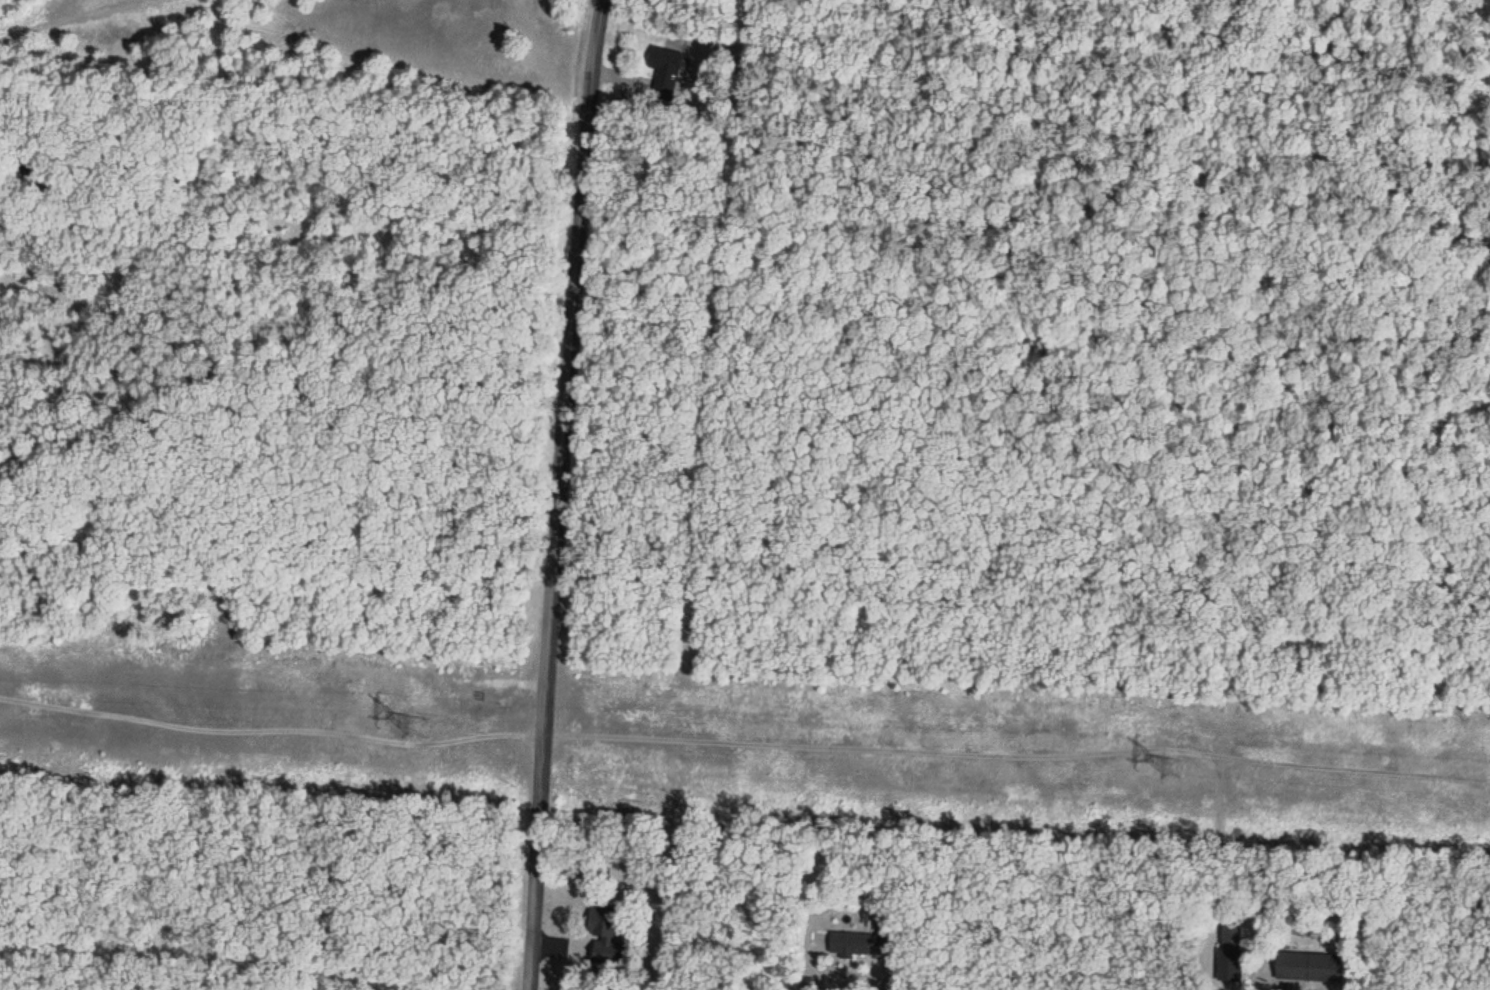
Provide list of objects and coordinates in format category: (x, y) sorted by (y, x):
road: (66, 23)
building: (666, 67)
road: (559, 494)
power tower: (418, 726)
road: (639, 739)
power tower: (1170, 764)
building: (603, 923)
building: (856, 943)
building: (1227, 966)
building: (1309, 967)

